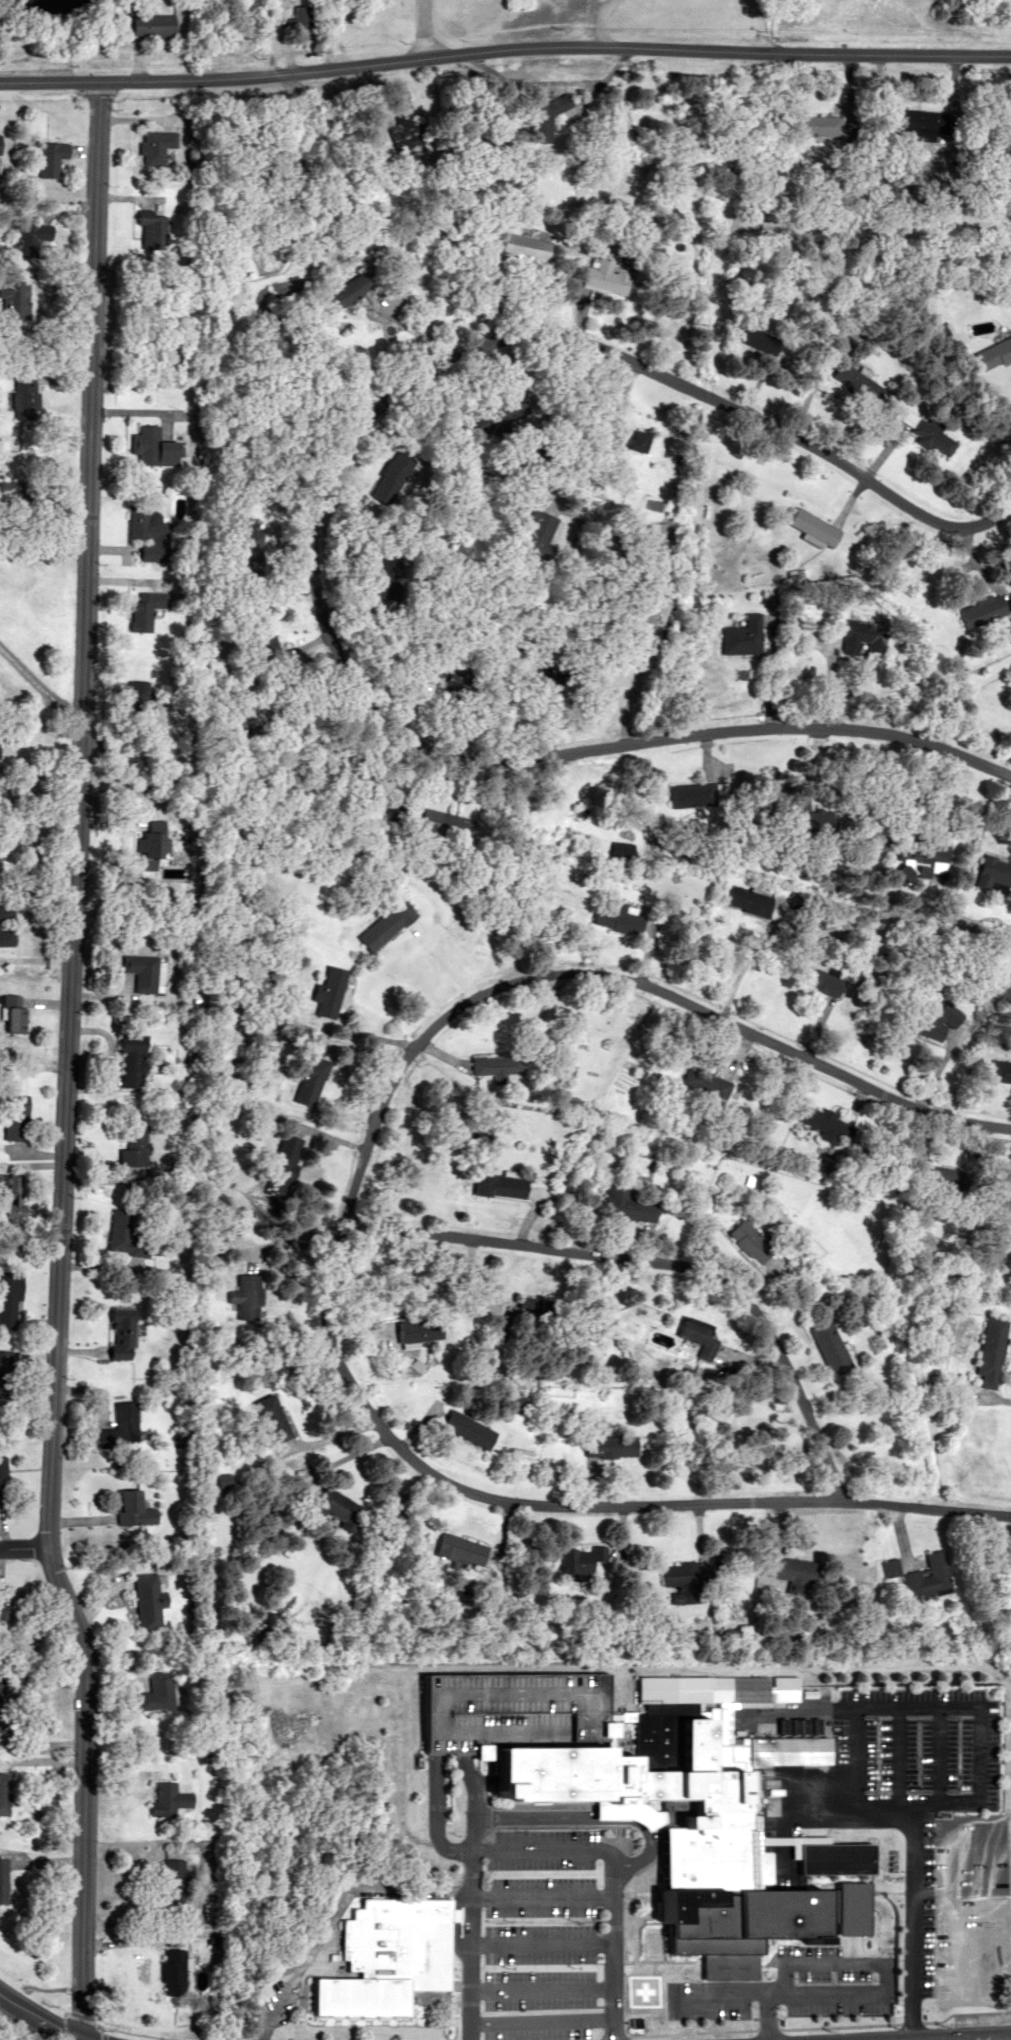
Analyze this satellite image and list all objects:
building: (303, 16)
road: (601, 21)
building: (153, 26)
road: (421, 28)
road: (504, 51)
building: (556, 107)
building: (1010, 107)
building: (825, 125)
building: (0, 144)
building: (155, 146)
building: (52, 158)
building: (151, 231)
building: (531, 246)
building: (610, 272)
building: (347, 291)
building: (14, 299)
building: (994, 352)
road: (635, 364)
building: (863, 386)
building: (25, 396)
building: (926, 431)
building: (154, 448)
building: (17, 492)
building: (813, 528)
building: (146, 531)
building: (143, 609)
building: (982, 610)
building: (1008, 627)
building: (742, 636)
building: (861, 636)
building: (135, 693)
road: (586, 749)
building: (824, 821)
building: (447, 824)
building: (157, 845)
building: (619, 851)
building: (926, 854)
building: (997, 871)
building: (751, 902)
building: (613, 916)
building: (387, 925)
building: (1, 926)
building: (145, 972)
road: (618, 981)
building: (819, 981)
building: (330, 994)
building: (13, 1013)
building: (934, 1021)
road: (65, 1064)
building: (134, 1065)
building: (499, 1068)
building: (998, 1071)
building: (312, 1080)
building: (705, 1081)
building: (15, 1117)
building: (825, 1124)
building: (135, 1145)
building: (286, 1160)
building: (500, 1185)
building: (13, 1197)
building: (629, 1204)
building: (121, 1226)
building: (753, 1242)
road: (656, 1263)
building: (249, 1297)
building: (10, 1300)
building: (552, 1308)
building: (420, 1330)
building: (701, 1331)
building: (124, 1335)
building: (831, 1346)
building: (989, 1350)
building: (5, 1374)
building: (122, 1427)
building: (470, 1430)
building: (612, 1446)
building: (1, 1482)
road: (574, 1504)
building: (340, 1508)
building: (135, 1509)
road: (22, 1547)
building: (462, 1549)
building: (581, 1560)
building: (887, 1567)
building: (801, 1572)
building: (687, 1575)
building: (923, 1575)
building: (148, 1603)
building: (156, 1692)
building: (1, 1699)
road: (947, 1704)
road: (895, 1751)
road: (936, 1751)
building: (5, 1794)
building: (666, 1797)
building: (169, 1799)
road: (471, 1803)
road: (434, 1811)
road: (912, 1855)
road: (470, 1876)
building: (174, 1879)
building: (3, 1880)
road: (541, 1895)
road: (333, 1910)
road: (541, 1941)
road: (613, 1945)
building: (391, 1957)
building: (171, 1971)
road: (541, 1986)
helipad: (642, 1990)
road: (862, 1994)
road: (767, 2017)
road: (39, 2018)
road: (541, 2020)
road: (802, 2024)
road: (962, 2037)
road: (1009, 2037)
road: (225, 2038)

